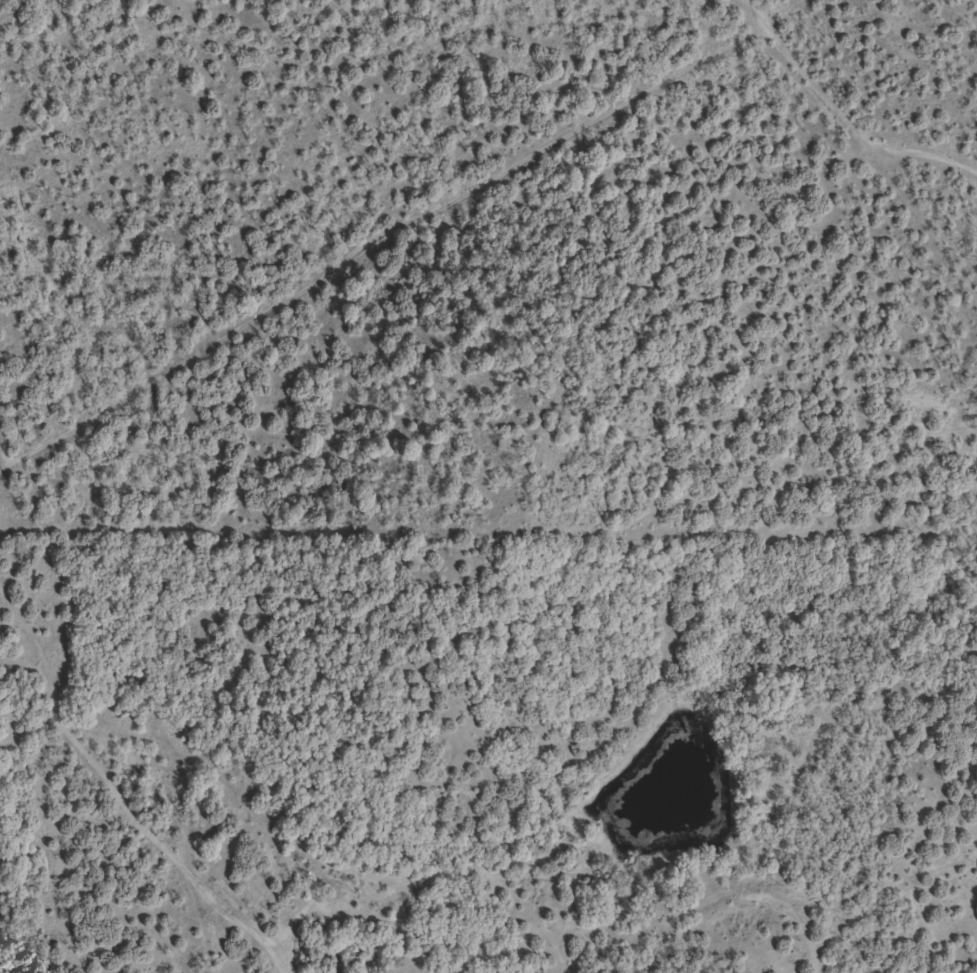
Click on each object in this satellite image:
road: (867, 149)
road: (749, 899)

